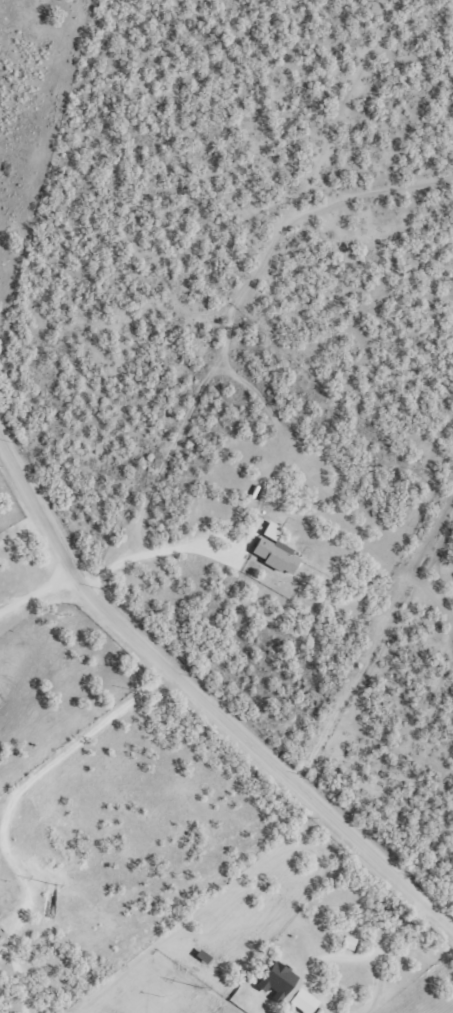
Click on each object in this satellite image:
building: (272, 531)
building: (276, 555)
road: (190, 719)
building: (281, 982)
building: (305, 1001)

